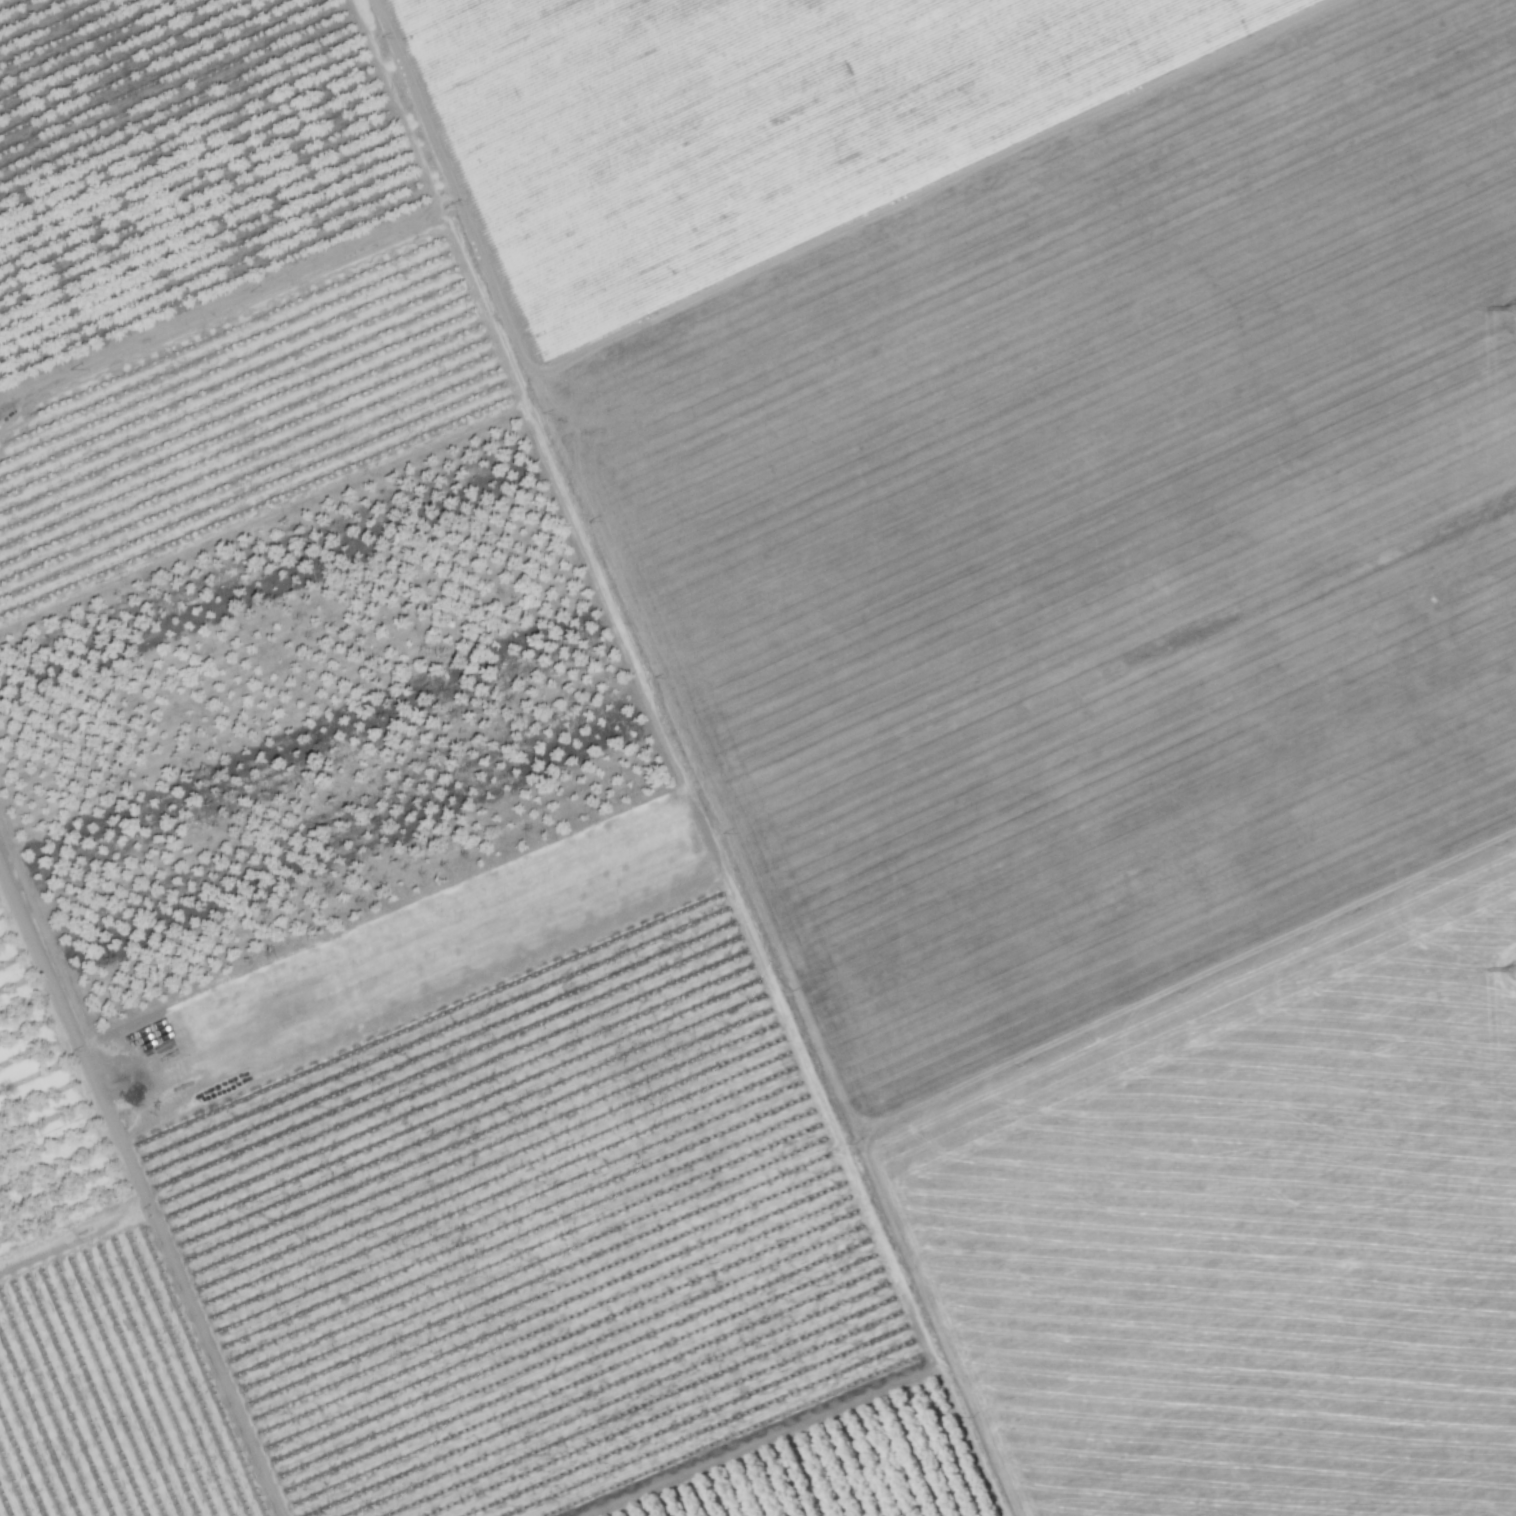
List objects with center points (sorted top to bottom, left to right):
road: (748, 272)

